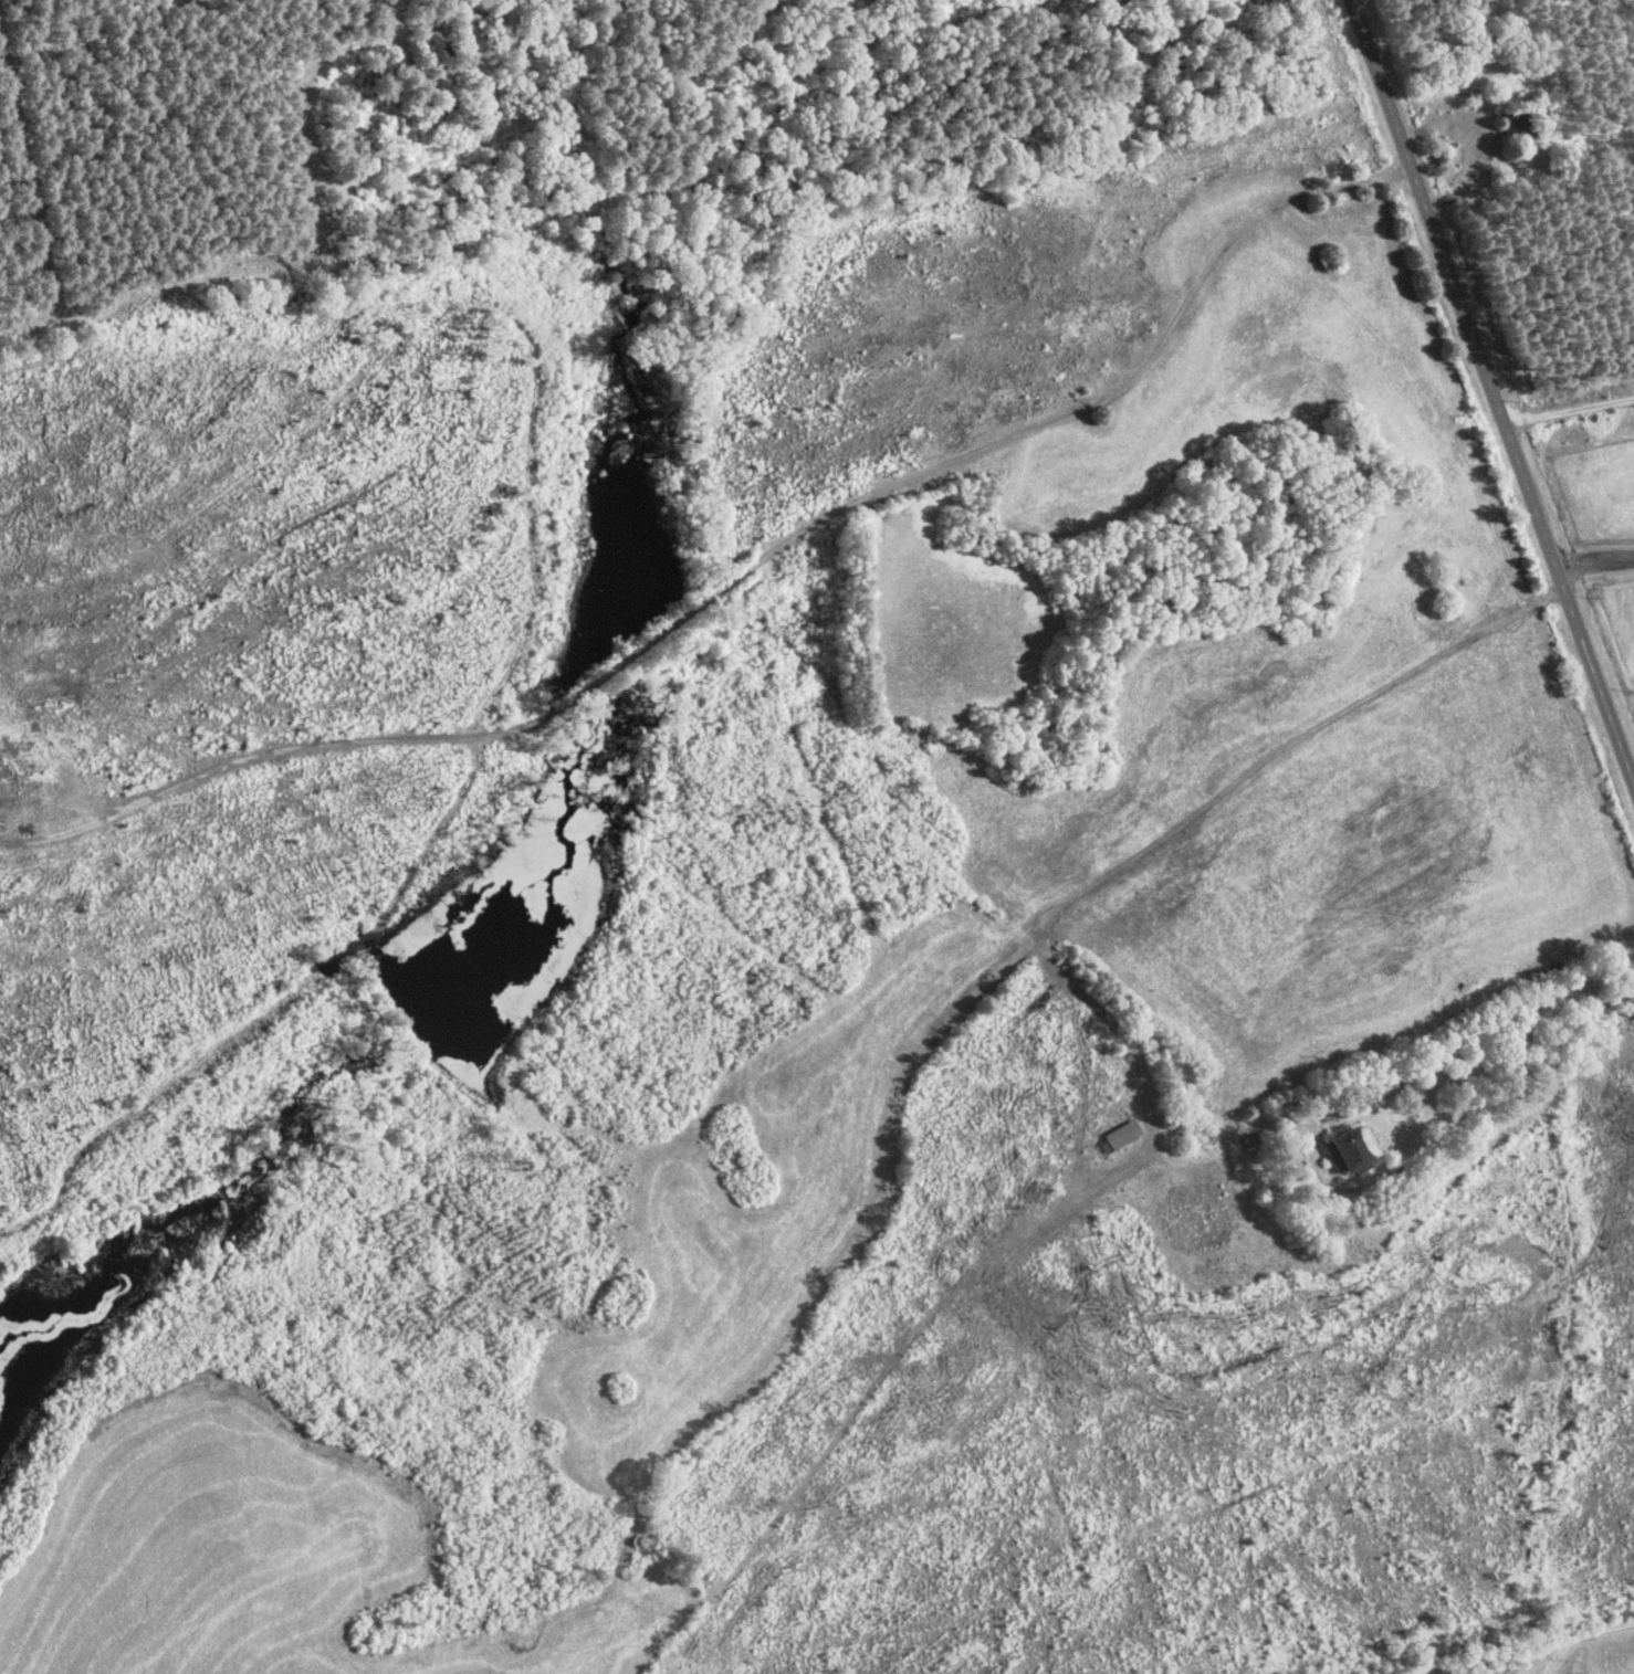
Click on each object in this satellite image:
building: (1516, 125)
road: (1492, 388)
road: (1570, 411)
road: (1527, 1071)
building: (1117, 1137)
building: (1345, 1149)
road: (1572, 1625)

